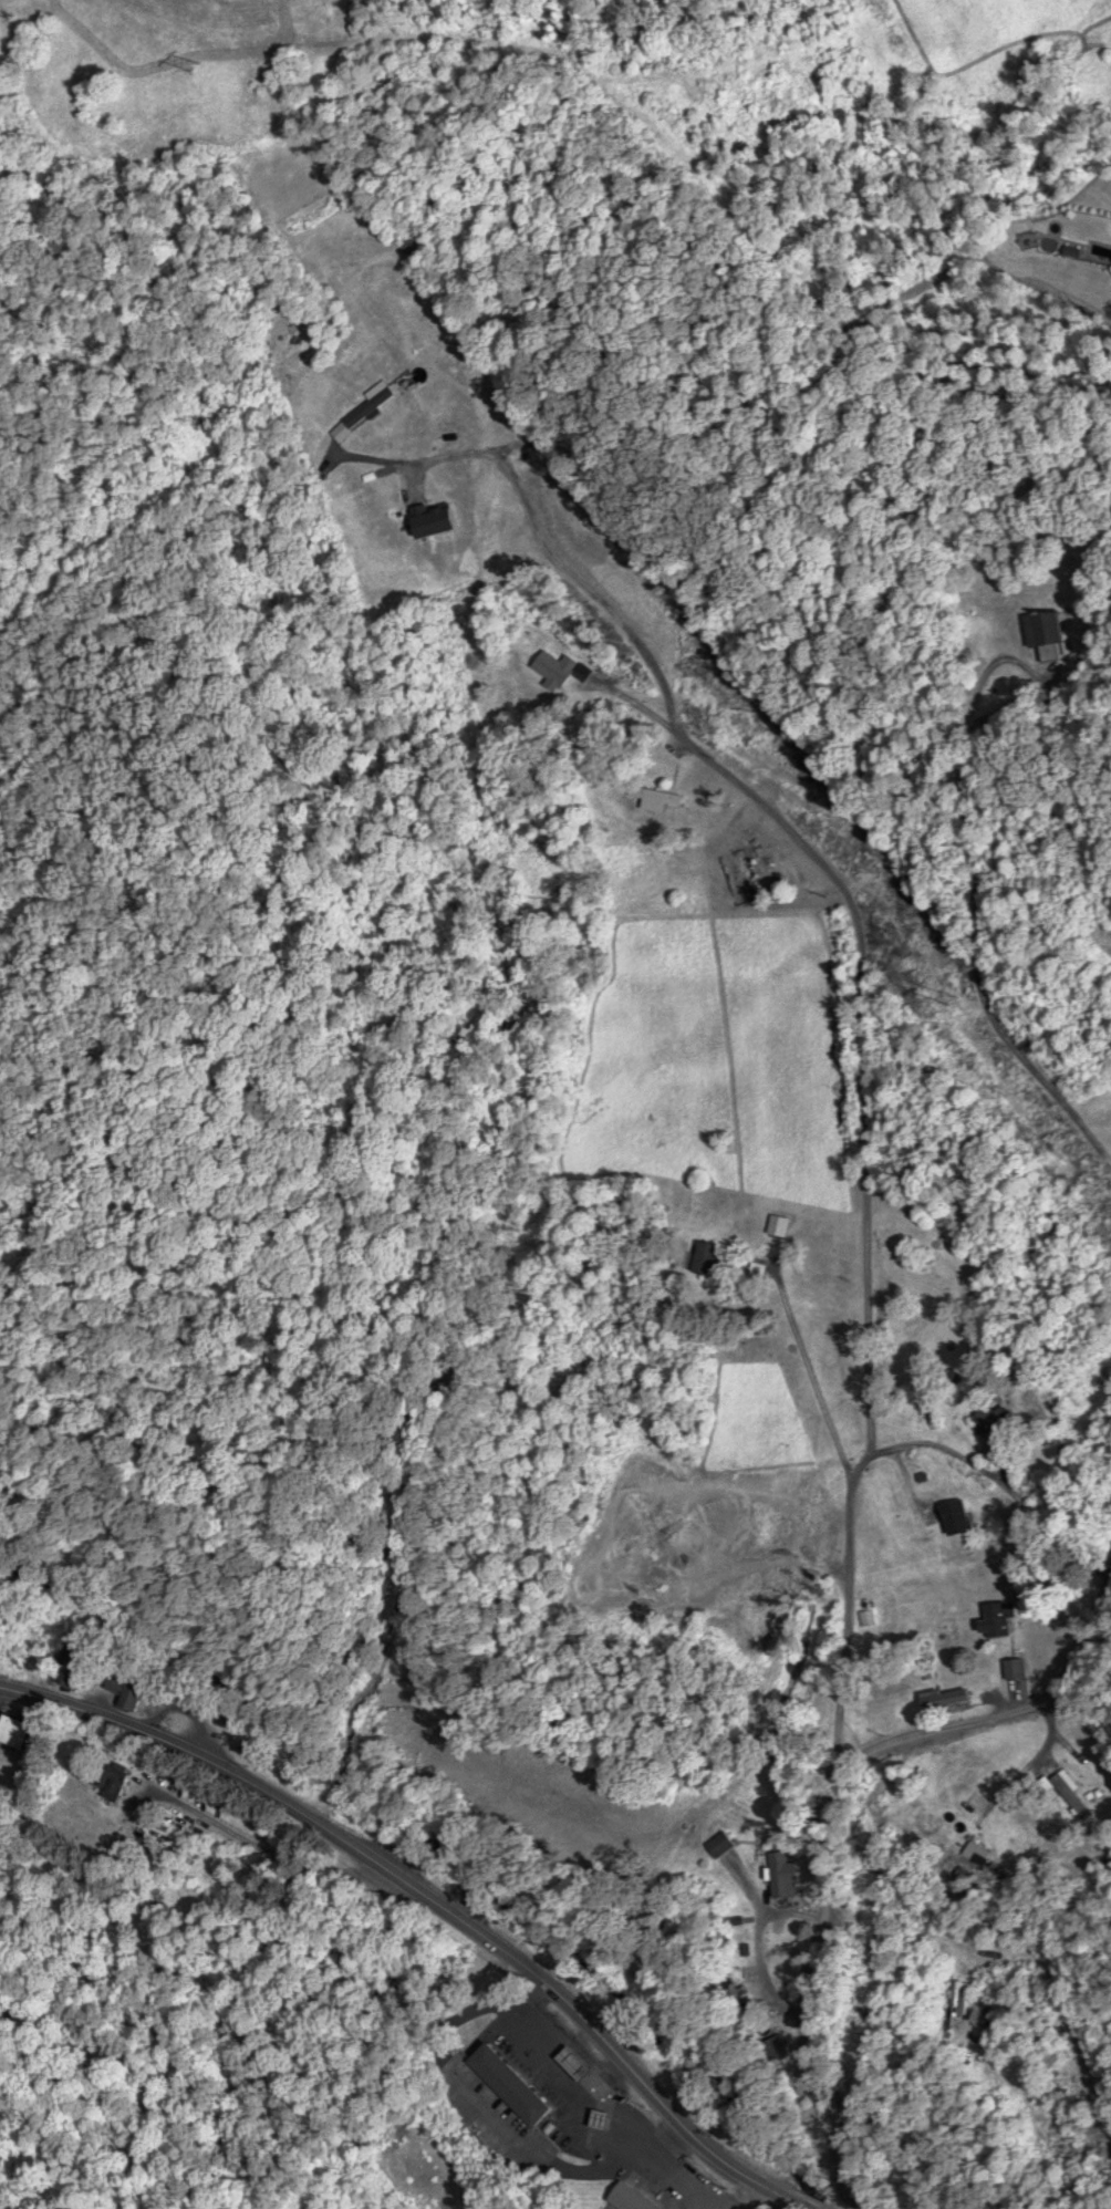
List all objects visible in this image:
power tower: (194, 69)
building: (1045, 633)
building: (558, 670)
building: (655, 799)
power tower: (952, 1004)
road: (866, 1178)
building: (778, 1225)
building: (707, 1258)
building: (758, 1268)
building: (988, 1419)
road: (999, 1482)
building: (955, 1517)
building: (869, 1617)
building: (997, 1619)
building: (1016, 1669)
building: (126, 1689)
building: (948, 1700)
building: (13, 1732)
building: (1068, 1792)
road: (832, 1822)
road: (276, 1858)
building: (782, 1875)
road: (436, 1901)
road: (761, 1956)
building: (735, 1995)
building: (959, 1998)
building: (777, 2054)
building: (509, 2085)
building: (630, 2198)

